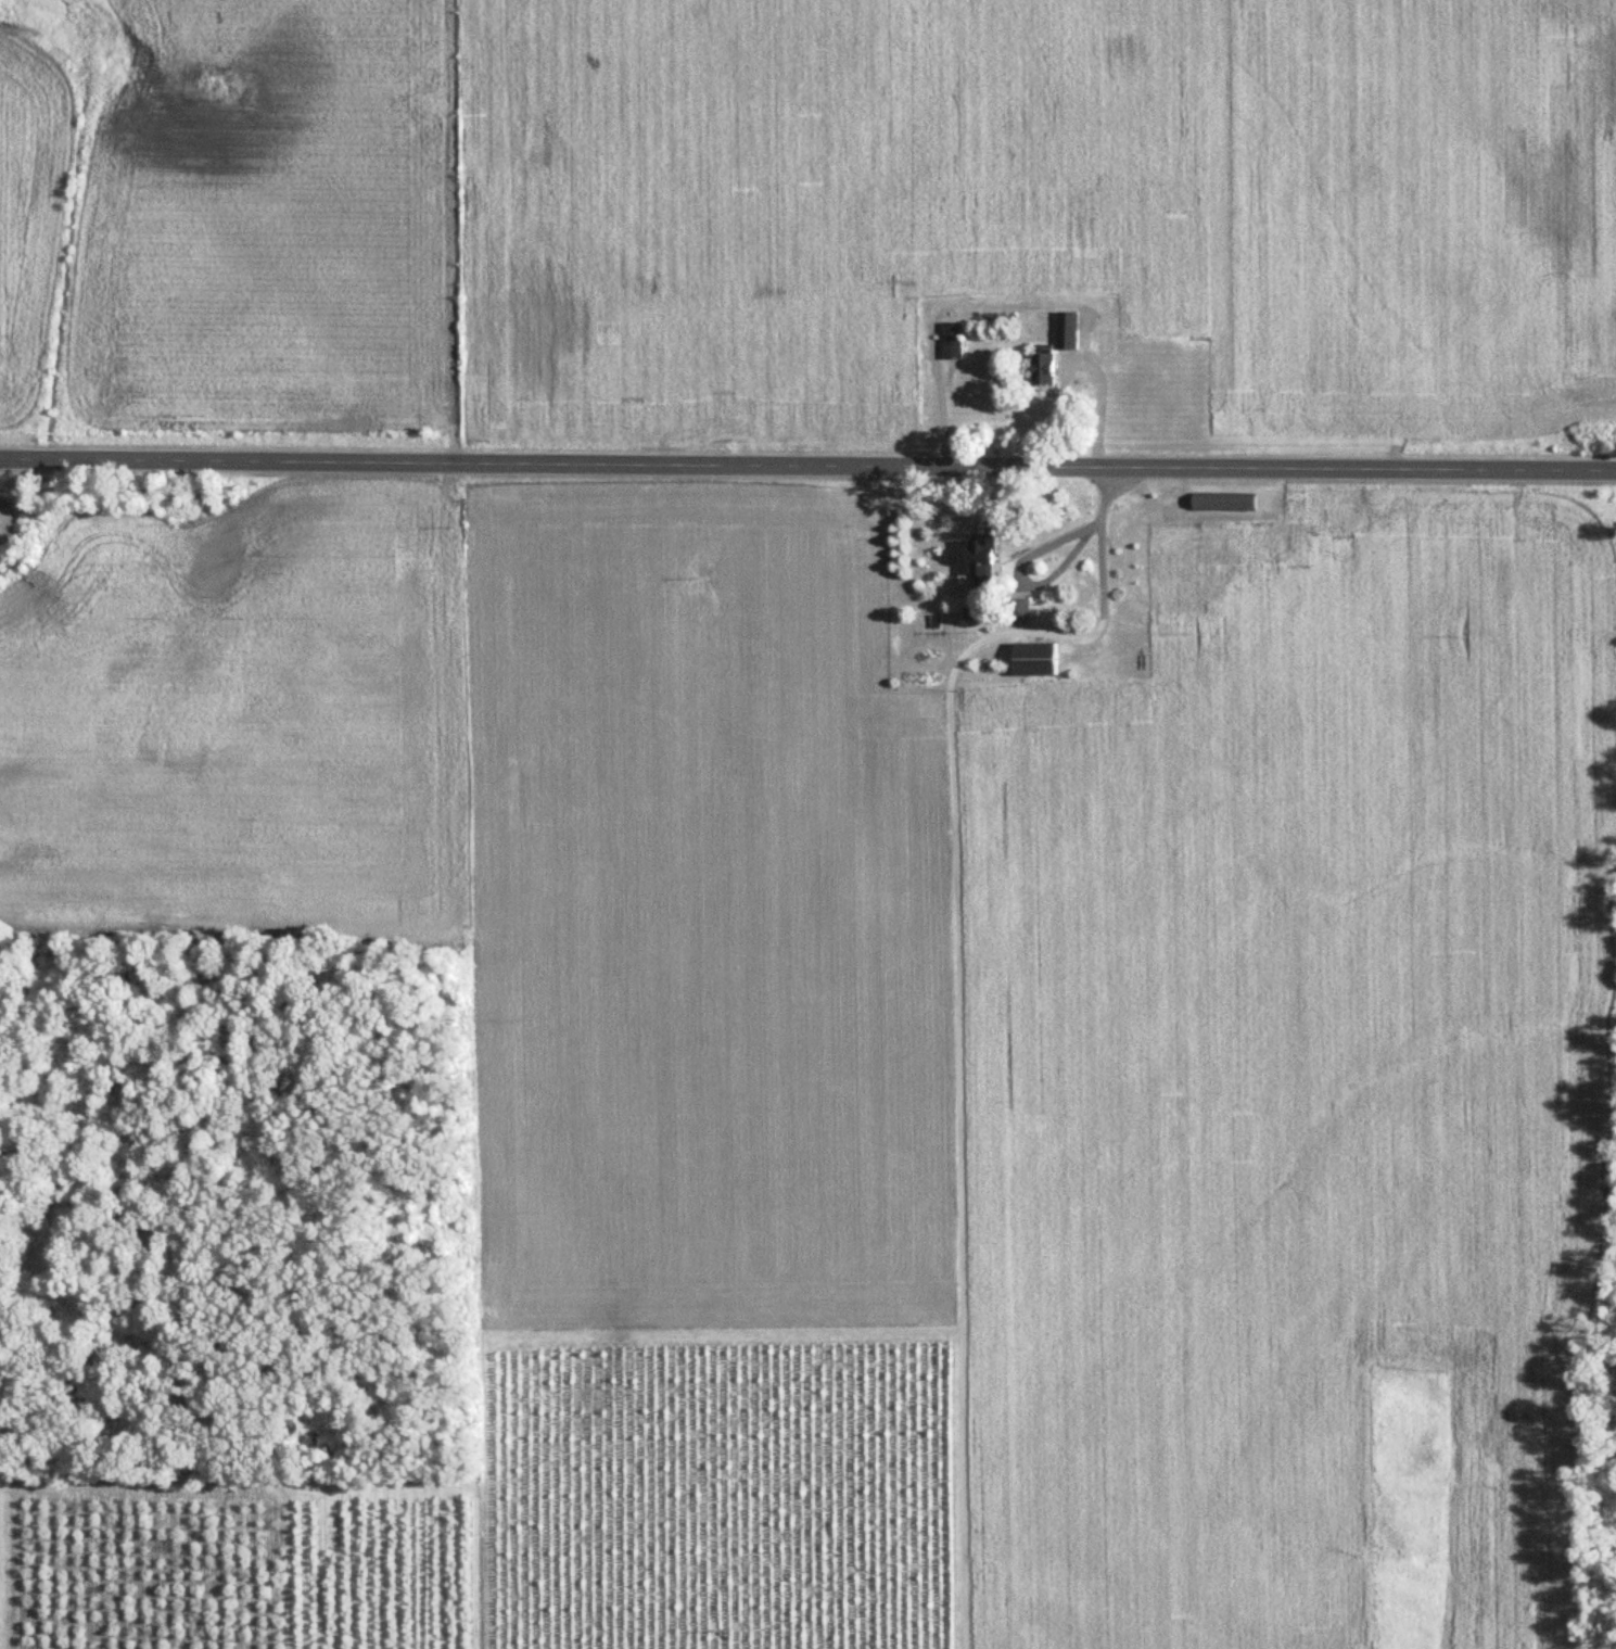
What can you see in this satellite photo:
building: (1068, 331)
building: (953, 342)
building: (1046, 370)
road: (807, 466)
building: (984, 565)
road: (1022, 574)
road: (1102, 589)
building: (1020, 611)
building: (1038, 661)

